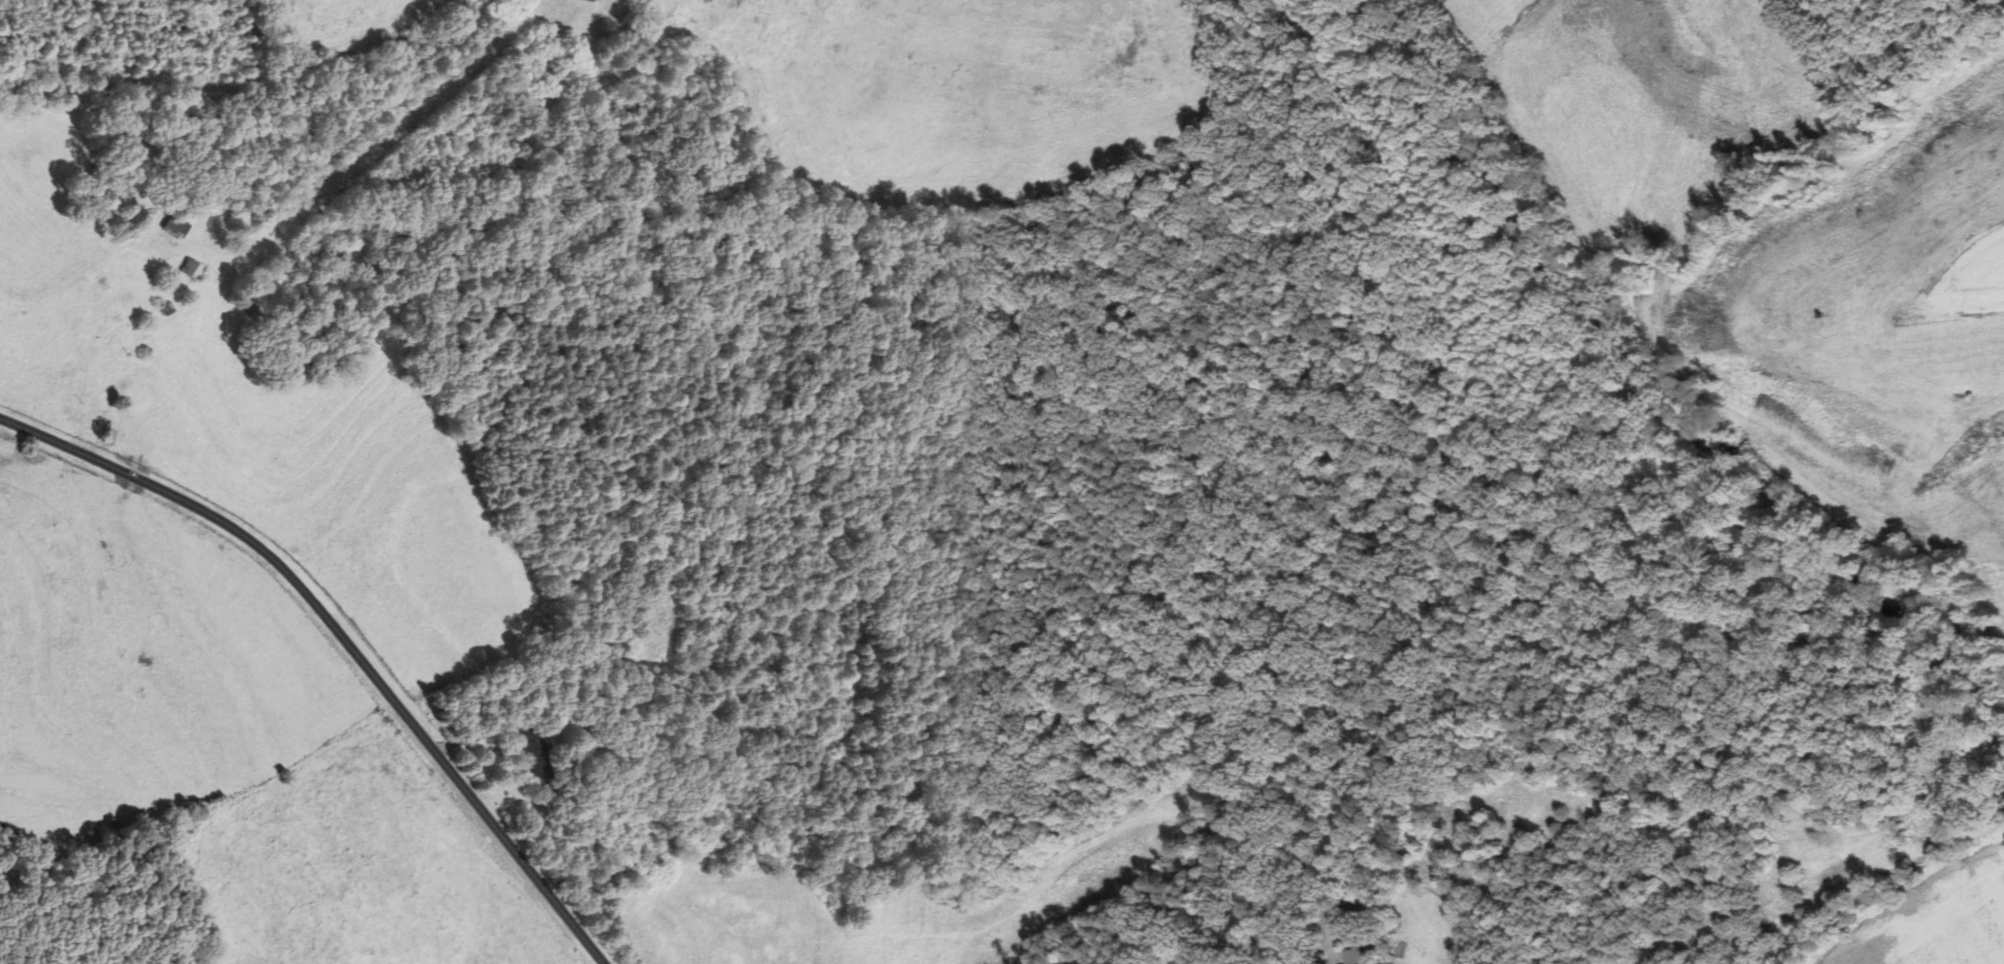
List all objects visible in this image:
building: (175, 226)
building: (192, 269)
road: (343, 639)
building: (584, 742)
building: (537, 755)

